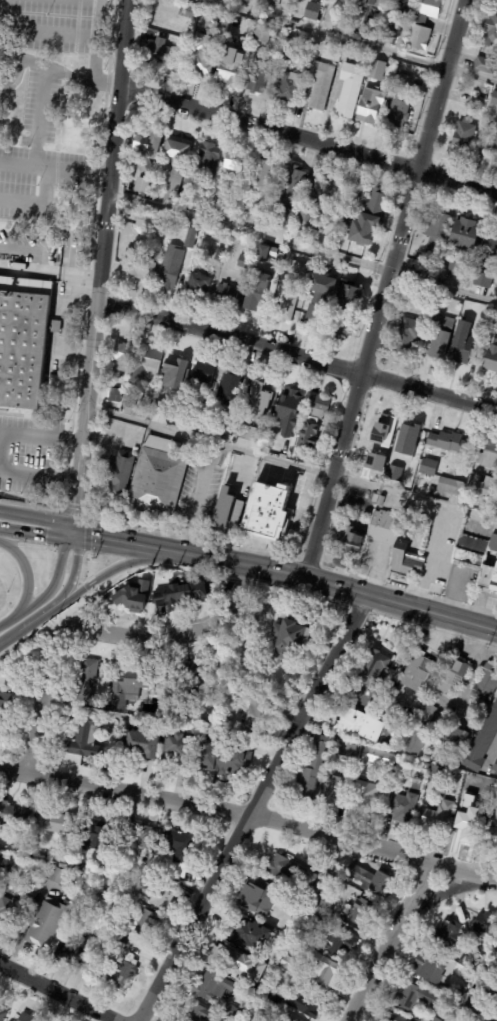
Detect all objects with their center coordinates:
building: (244, 1)
building: (273, 3)
building: (368, 4)
building: (401, 6)
building: (312, 12)
building: (191, 14)
building: (207, 22)
building: (376, 23)
building: (253, 24)
building: (423, 25)
building: (490, 27)
building: (387, 32)
building: (261, 36)
road: (347, 40)
building: (159, 45)
building: (287, 53)
road: (24, 59)
building: (202, 60)
building: (229, 65)
building: (484, 65)
building: (280, 69)
building: (376, 70)
building: (409, 71)
road: (11, 75)
building: (279, 75)
road: (43, 78)
building: (258, 78)
building: (402, 82)
building: (320, 85)
building: (288, 88)
building: (349, 91)
building: (493, 97)
building: (476, 102)
building: (369, 105)
building: (397, 116)
building: (463, 136)
road: (307, 139)
building: (147, 142)
building: (494, 144)
building: (208, 159)
road: (54, 163)
building: (234, 163)
building: (142, 165)
building: (174, 166)
building: (260, 175)
building: (190, 181)
building: (141, 185)
building: (355, 196)
building: (287, 197)
road: (40, 201)
building: (233, 203)
building: (202, 204)
building: (315, 204)
building: (216, 209)
building: (255, 215)
building: (367, 220)
building: (145, 222)
building: (438, 231)
building: (465, 234)
building: (489, 240)
building: (190, 245)
road: (302, 246)
building: (199, 252)
building: (266, 254)
building: (218, 255)
building: (279, 258)
building: (245, 262)
building: (137, 265)
road: (100, 267)
building: (456, 268)
building: (298, 270)
building: (169, 273)
road: (49, 274)
building: (483, 280)
building: (197, 286)
road: (383, 288)
building: (226, 294)
building: (254, 298)
building: (318, 299)
building: (347, 309)
building: (284, 310)
building: (466, 313)
building: (408, 335)
building: (440, 336)
building: (25, 343)
building: (462, 344)
building: (121, 356)
road: (297, 356)
building: (491, 359)
building: (144, 365)
building: (176, 366)
building: (202, 377)
building: (230, 389)
building: (115, 395)
building: (129, 400)
building: (259, 400)
building: (205, 410)
building: (288, 411)
building: (313, 422)
building: (227, 428)
building: (382, 429)
building: (410, 429)
building: (250, 434)
road: (31, 435)
building: (446, 442)
building: (487, 455)
building: (375, 462)
building: (400, 462)
road: (291, 463)
building: (428, 467)
building: (118, 473)
building: (394, 473)
road: (39, 475)
building: (156, 478)
building: (450, 486)
building: (483, 487)
road: (198, 497)
building: (380, 501)
building: (227, 511)
building: (269, 513)
road: (38, 518)
building: (419, 521)
road: (36, 534)
traffic signals: (74, 536)
building: (433, 539)
road: (119, 543)
building: (349, 543)
building: (394, 543)
building: (478, 558)
road: (72, 571)
road: (107, 571)
road: (24, 576)
road: (54, 583)
road: (331, 585)
road: (90, 590)
building: (177, 595)
building: (133, 597)
road: (7, 621)
road: (28, 623)
road: (102, 633)
building: (289, 639)
building: (372, 668)
building: (417, 671)
building: (452, 674)
building: (193, 675)
building: (225, 677)
building: (83, 680)
building: (127, 688)
building: (484, 689)
building: (157, 692)
building: (144, 716)
building: (255, 716)
building: (4, 722)
building: (357, 722)
building: (419, 730)
building: (454, 739)
building: (481, 740)
building: (83, 741)
road: (493, 744)
building: (142, 745)
building: (348, 749)
building: (180, 750)
building: (445, 755)
building: (377, 756)
building: (227, 764)
building: (426, 766)
building: (495, 766)
building: (312, 768)
building: (436, 771)
building: (469, 777)
building: (328, 789)
building: (364, 797)
road: (251, 806)
building: (402, 806)
building: (469, 813)
road: (250, 815)
building: (437, 816)
building: (13, 817)
building: (56, 824)
building: (99, 835)
building: (143, 836)
building: (494, 837)
building: (180, 853)
building: (58, 856)
building: (5, 865)
building: (289, 870)
building: (57, 877)
building: (369, 880)
building: (89, 890)
building: (30, 893)
road: (441, 893)
building: (102, 896)
building: (258, 896)
building: (159, 897)
building: (352, 897)
building: (327, 903)
building: (119, 904)
building: (363, 910)
building: (8, 911)
building: (320, 918)
building: (484, 923)
building: (45, 924)
building: (145, 926)
building: (283, 928)
building: (447, 934)
building: (252, 935)
road: (388, 942)
building: (475, 942)
building: (123, 943)
building: (340, 943)
building: (496, 946)
building: (72, 952)
building: (288, 957)
building: (466, 961)
building: (236, 962)
building: (429, 967)
building: (327, 971)
building: (489, 971)
building: (118, 975)
building: (210, 985)
road: (61, 991)
building: (459, 994)
building: (413, 996)
building: (274, 998)
building: (471, 999)
building: (305, 1005)
building: (494, 1005)
building: (230, 1011)
building: (2, 1015)
building: (201, 1015)
building: (391, 1016)
building: (25, 1017)
building: (286, 1019)
building: (435, 1019)
building: (278, 1020)

